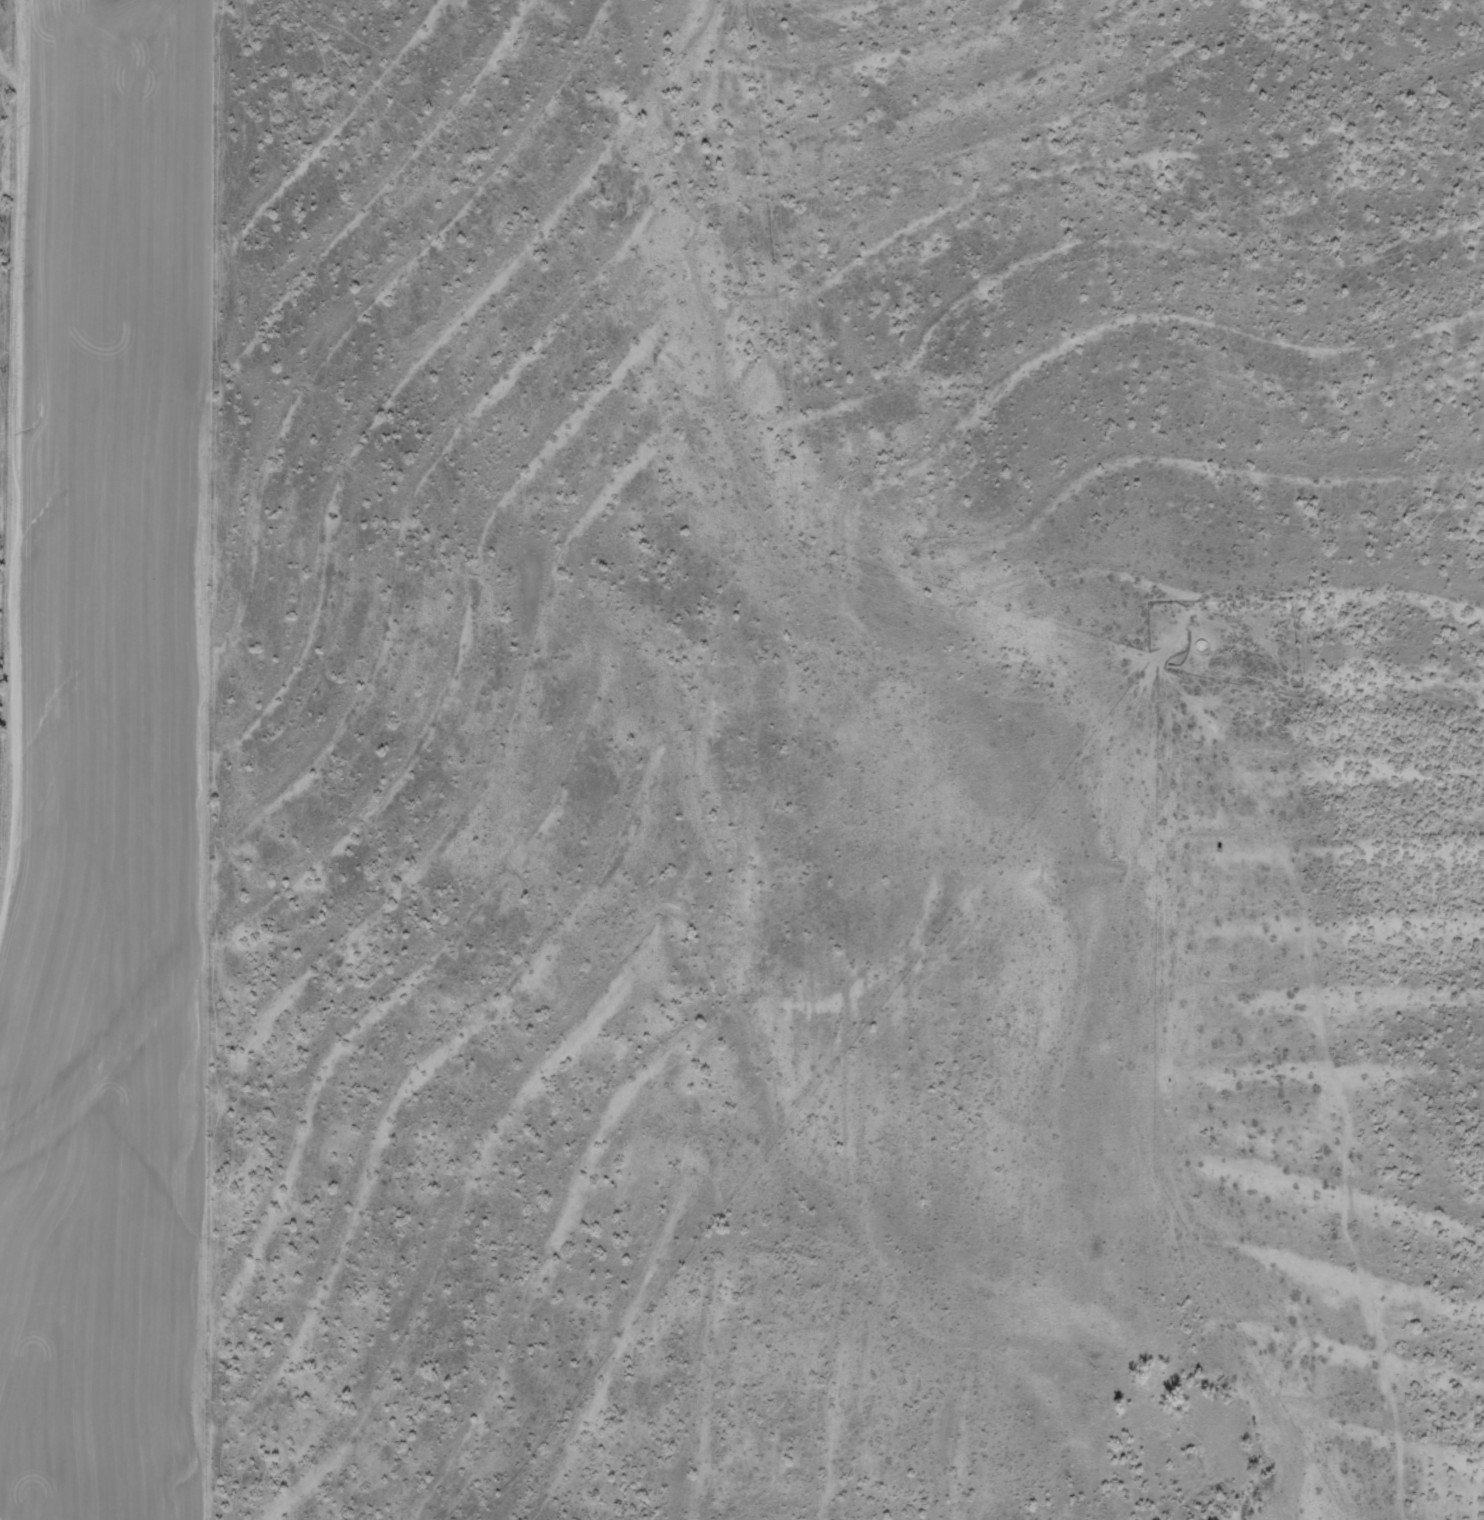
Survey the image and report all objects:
road: (16, 399)

